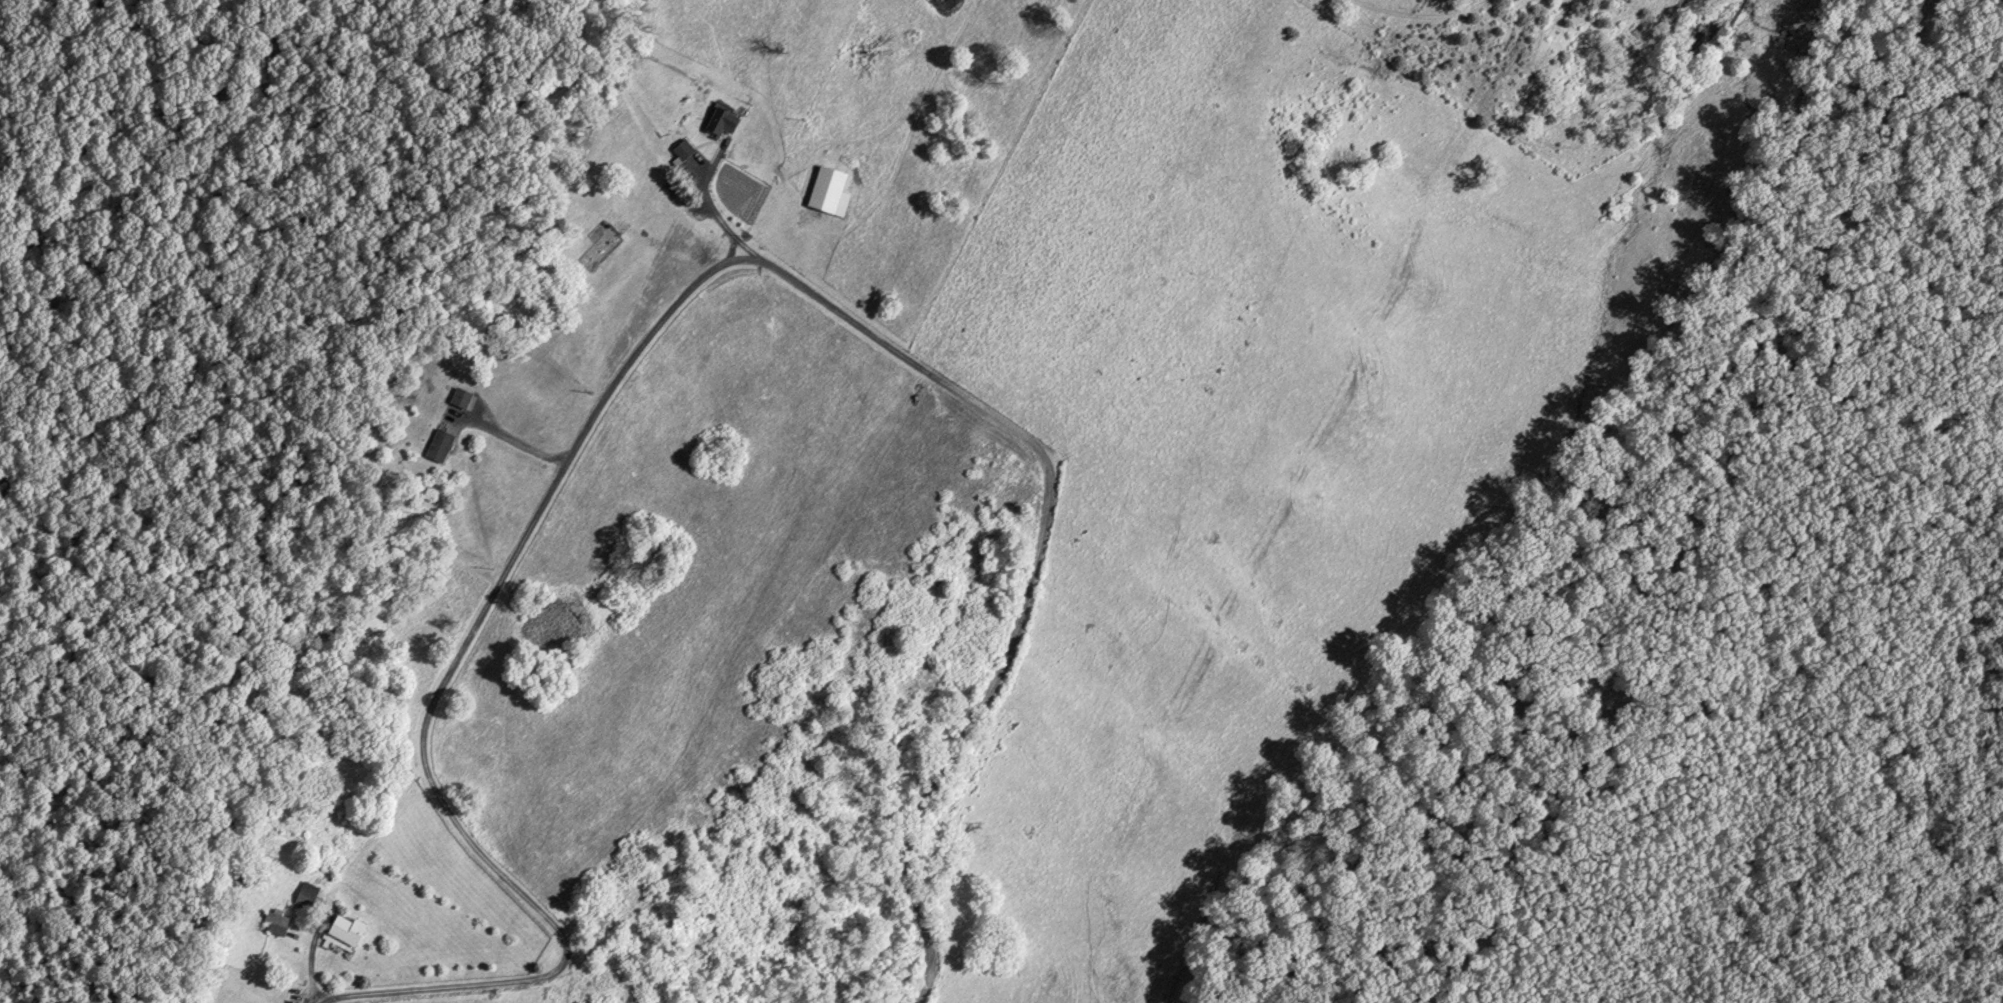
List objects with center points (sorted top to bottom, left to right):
building: (719, 123)
building: (682, 150)
building: (828, 192)
building: (598, 251)
road: (773, 299)
building: (462, 398)
building: (438, 446)
building: (305, 895)
building: (276, 923)
building: (344, 931)

